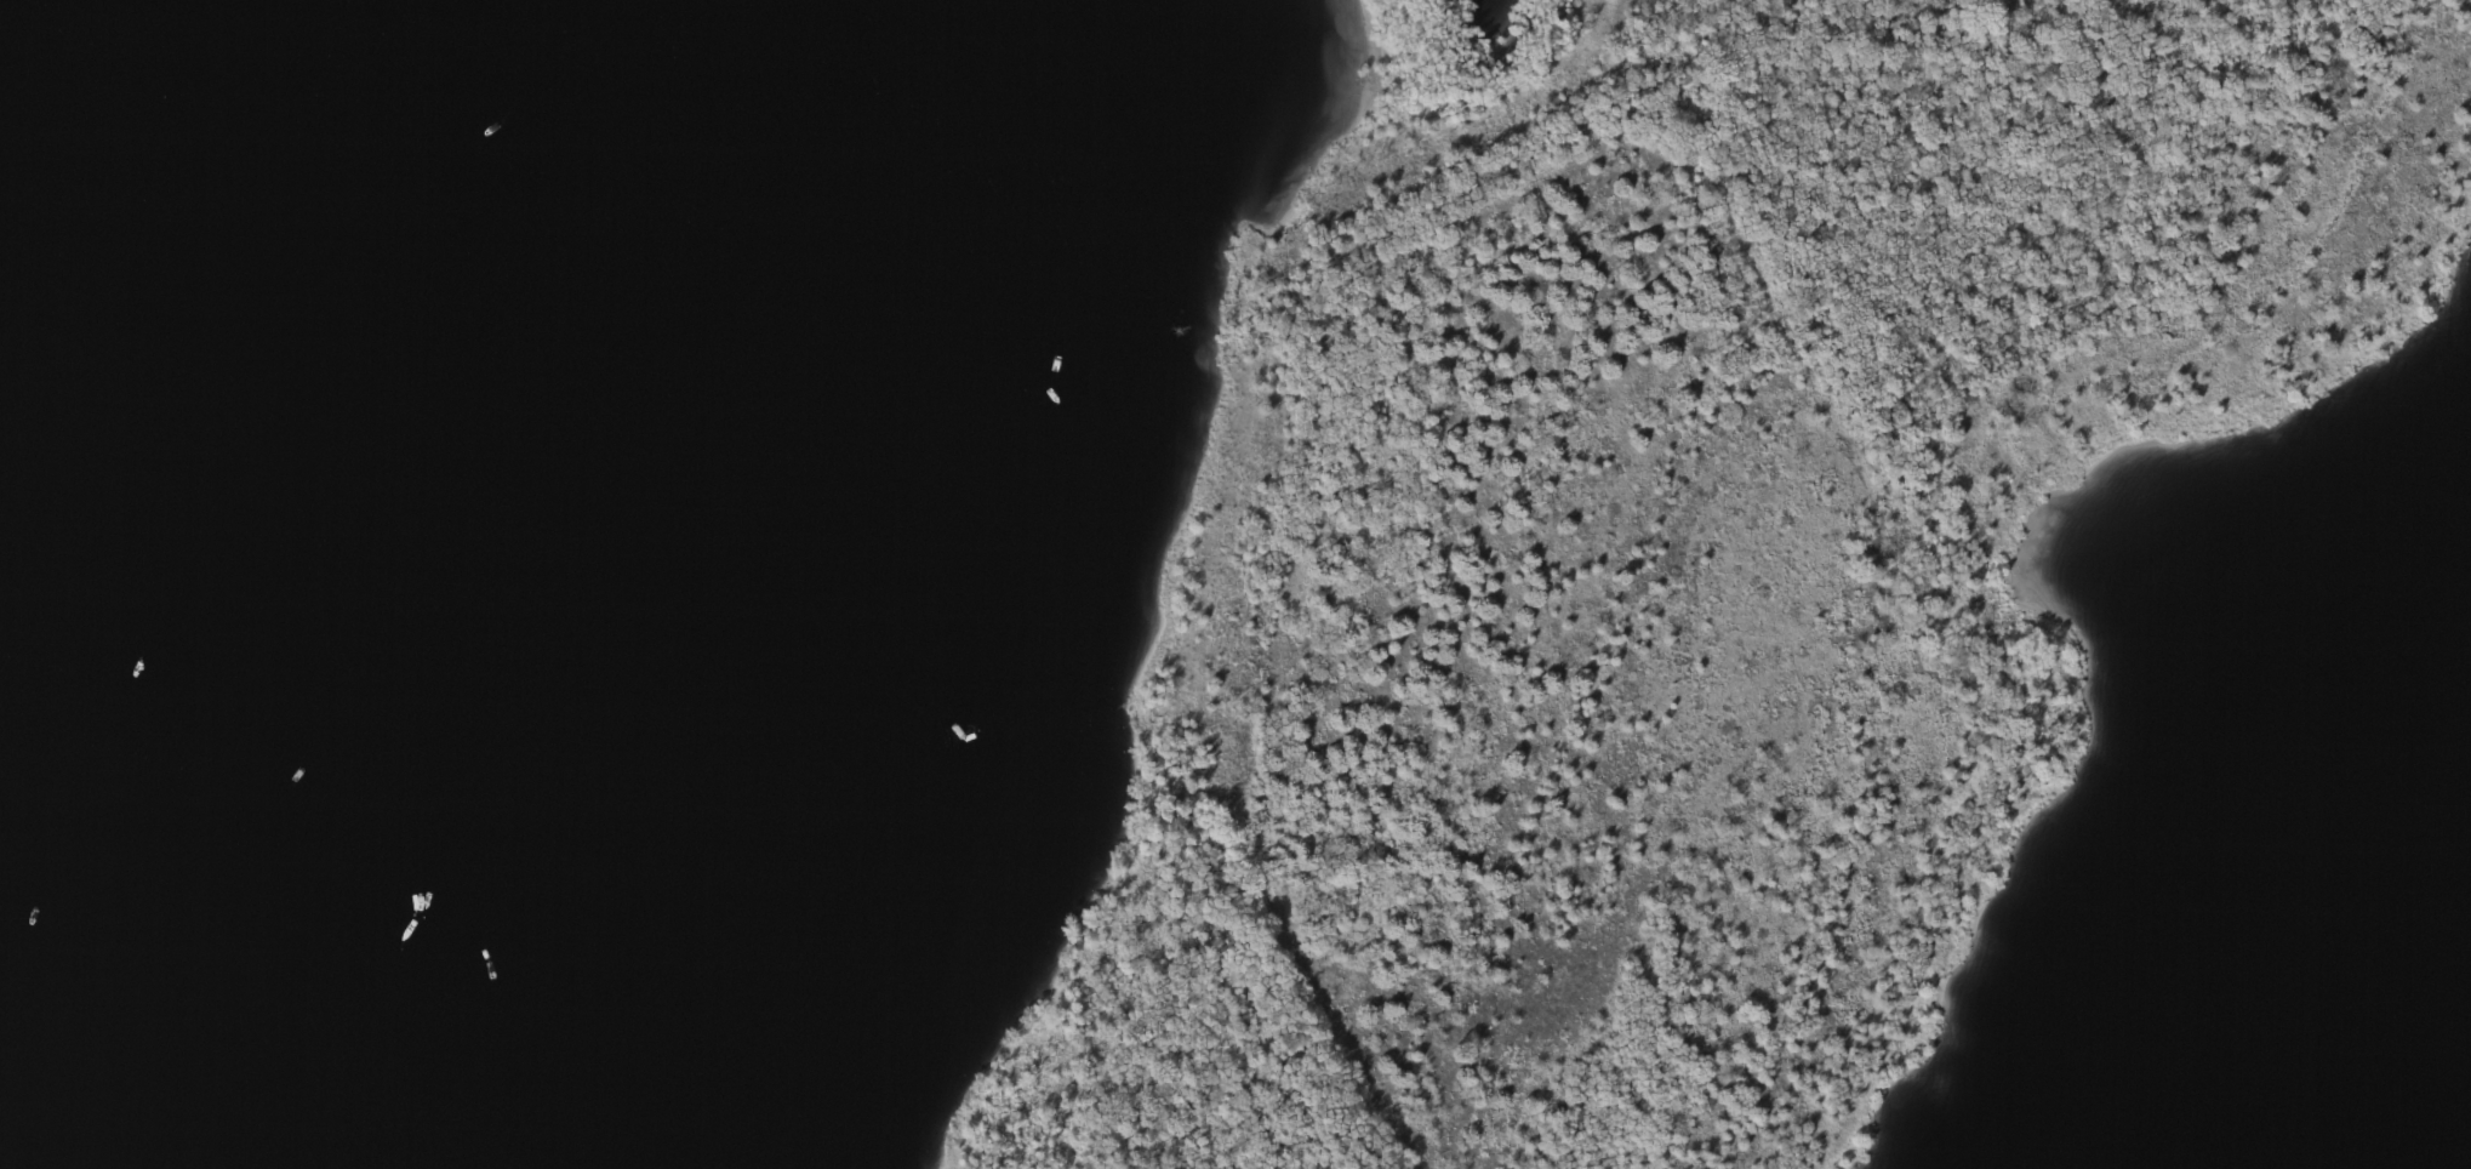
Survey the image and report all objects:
park: (1687, 555)

